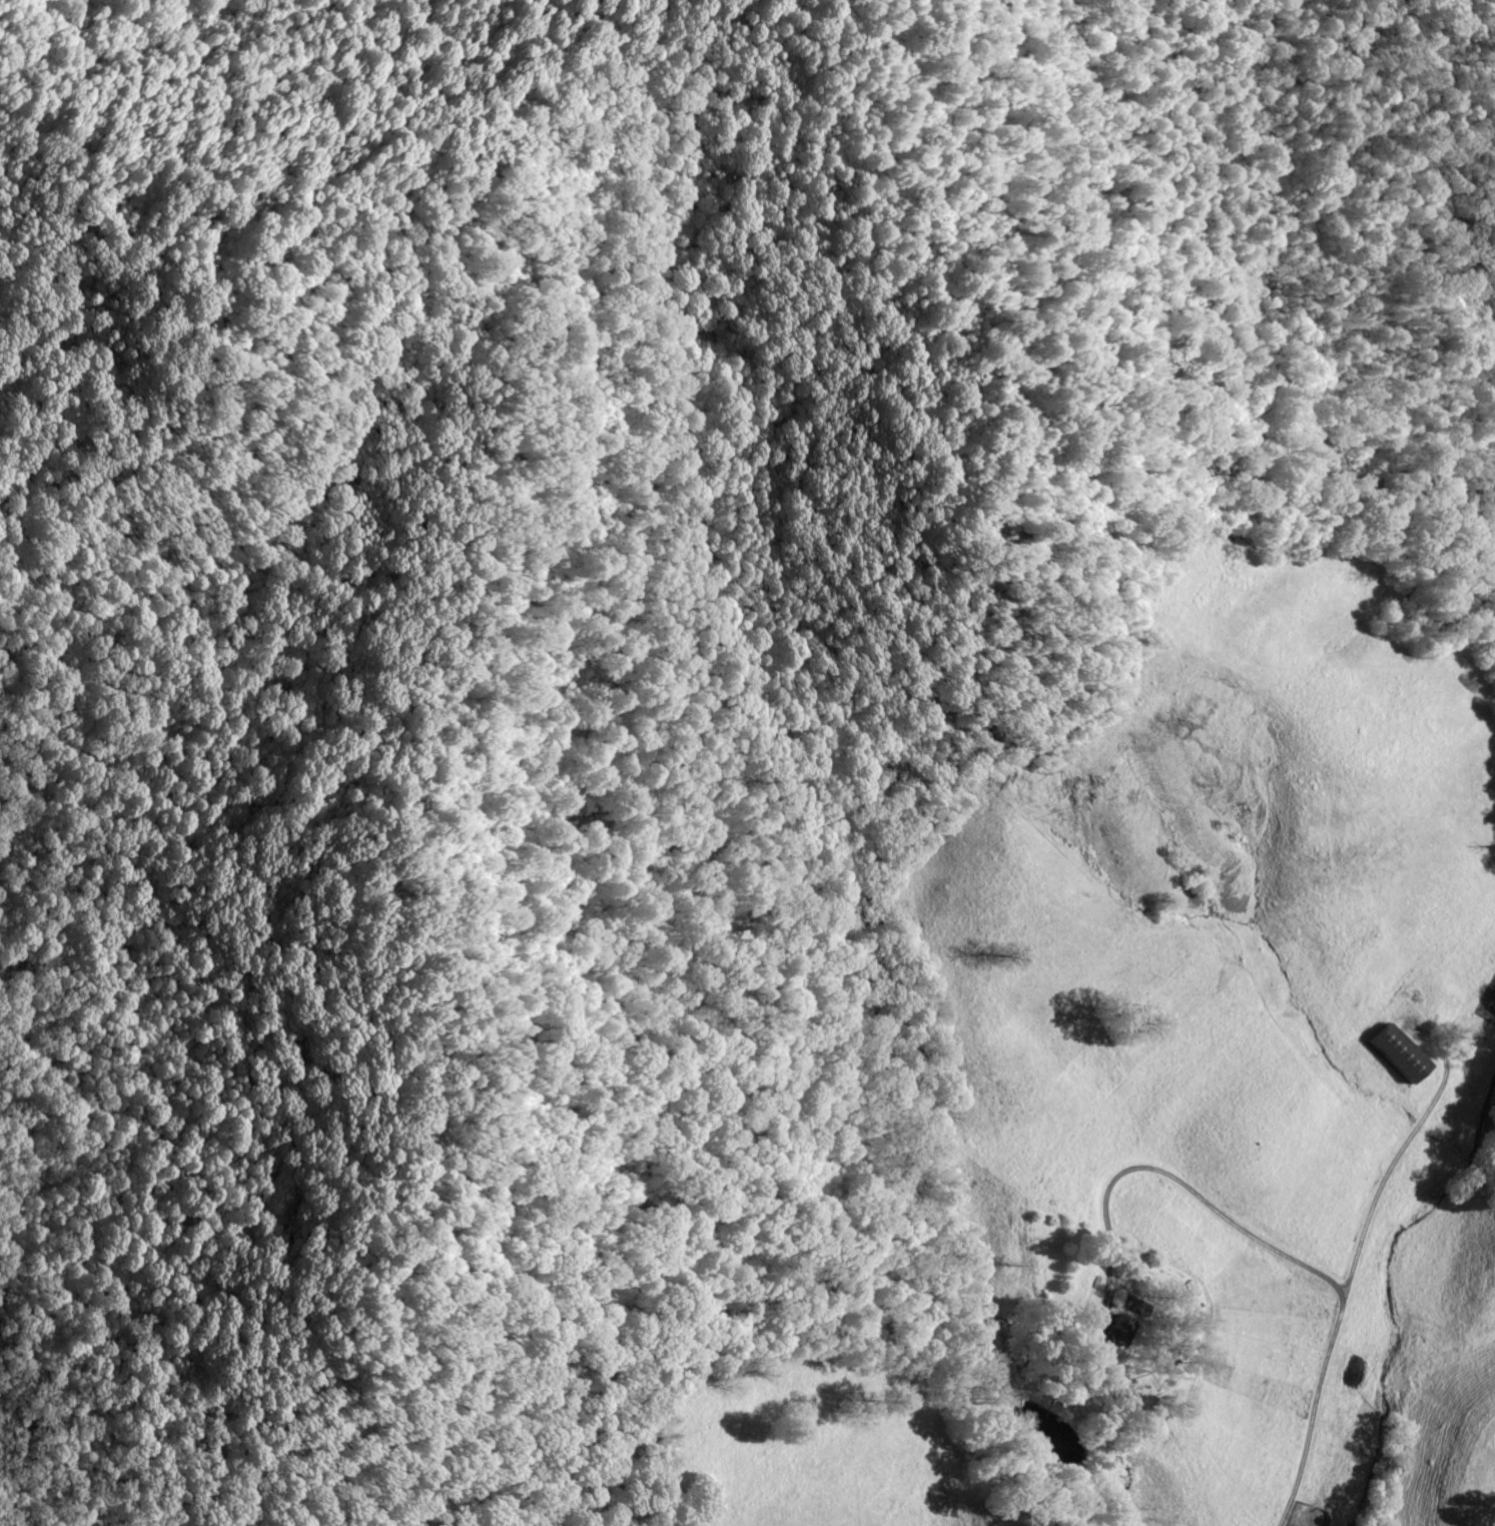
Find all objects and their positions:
building: (1392, 1054)
building: (1101, 1330)

